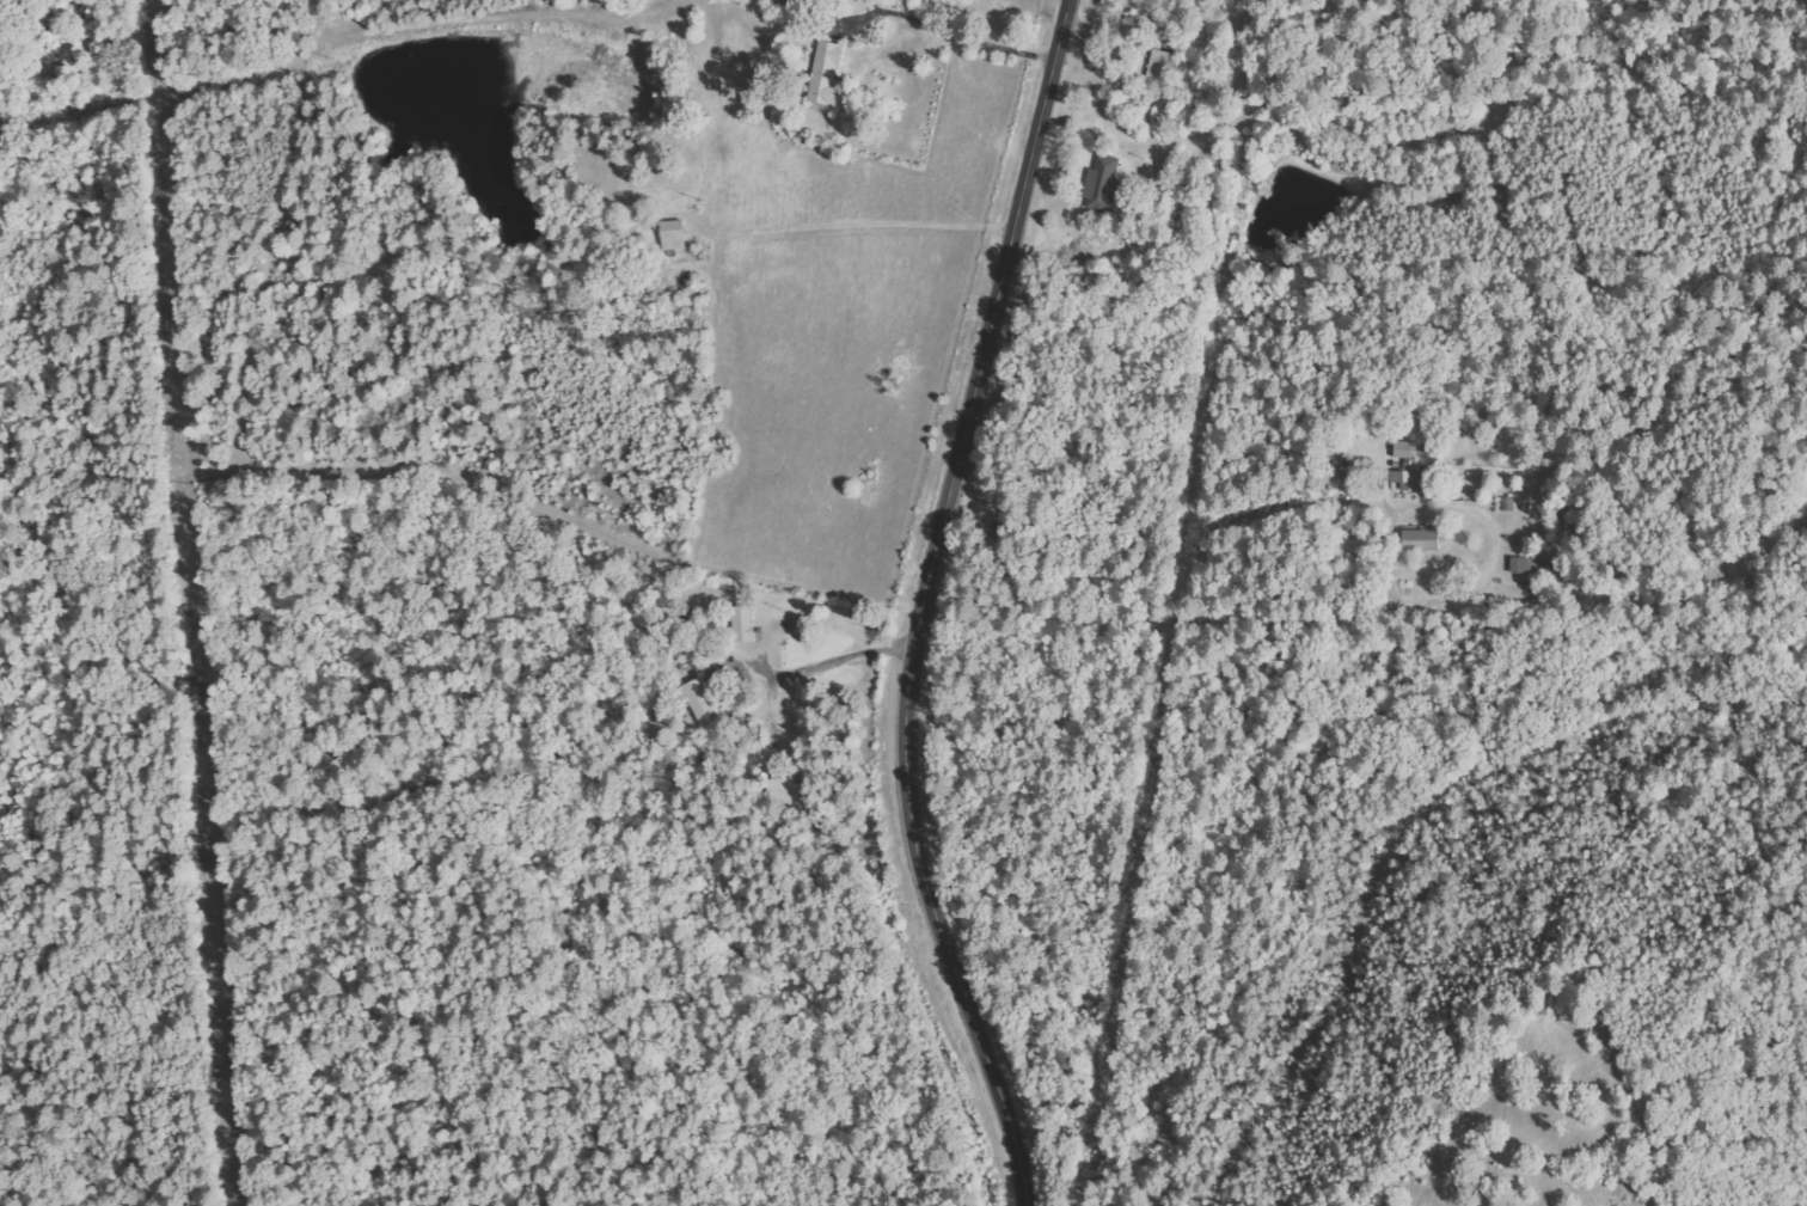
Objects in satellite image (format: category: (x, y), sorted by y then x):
building: (1159, 66)
building: (827, 73)
building: (1103, 183)
building: (673, 234)
building: (1407, 465)
building: (1421, 540)
building: (1523, 565)
road: (924, 604)
building: (743, 623)
building: (703, 702)

